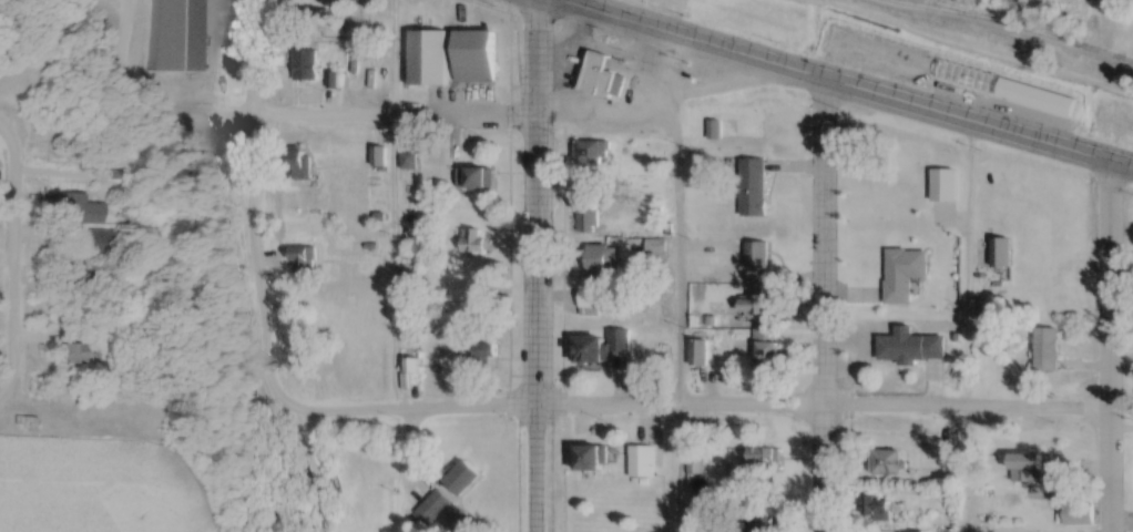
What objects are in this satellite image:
building: (176, 35)
road: (694, 39)
building: (476, 54)
building: (429, 55)
building: (305, 66)
building: (602, 80)
road: (395, 115)
road: (979, 122)
road: (608, 124)
road: (6, 145)
building: (593, 154)
building: (412, 164)
building: (296, 166)
building: (477, 180)
building: (754, 190)
road: (254, 197)
road: (392, 206)
building: (81, 211)
building: (588, 216)
building: (93, 243)
building: (474, 243)
building: (656, 248)
building: (1002, 252)
building: (303, 260)
building: (757, 262)
road: (537, 265)
building: (906, 274)
building: (409, 275)
road: (12, 277)
building: (601, 277)
road: (677, 283)
building: (756, 304)
road: (827, 305)
building: (620, 342)
building: (911, 346)
road: (1112, 346)
building: (765, 349)
building: (1048, 349)
building: (590, 352)
building: (75, 356)
road: (686, 403)
building: (591, 457)
building: (763, 458)
building: (642, 461)
building: (887, 462)
building: (1028, 465)
building: (314, 467)
building: (463, 478)
building: (435, 507)
building: (879, 508)
building: (766, 523)
road: (1076, 525)
building: (912, 531)

